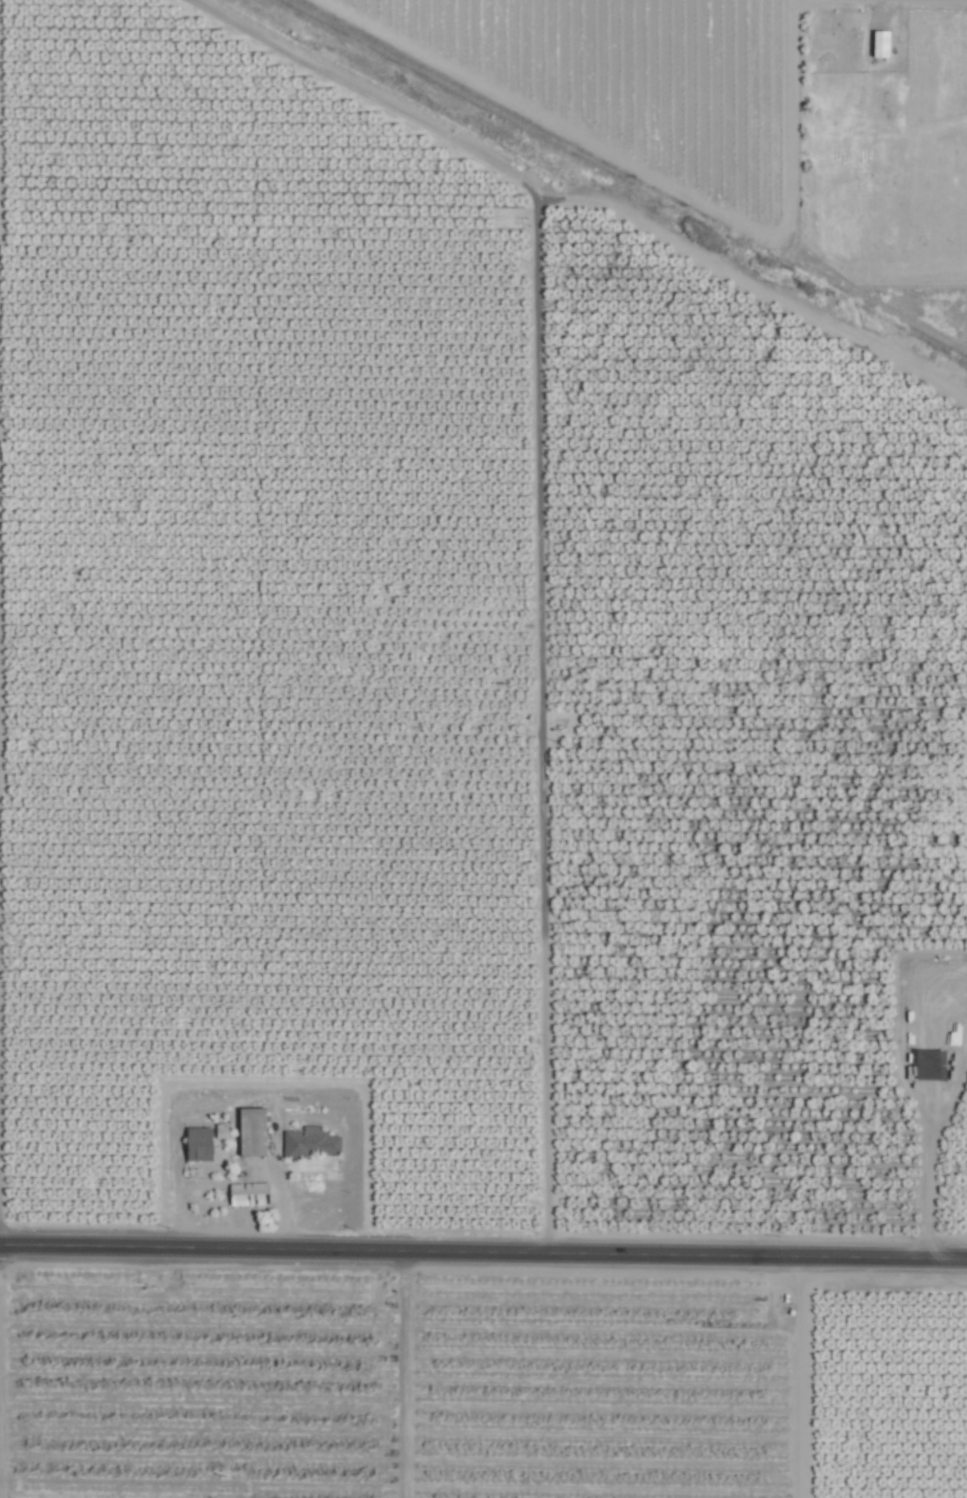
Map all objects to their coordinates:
building: (878, 44)
crop: (483, 749)
building: (250, 1132)
building: (309, 1142)
building: (196, 1144)
building: (246, 1194)
road: (483, 1252)
road: (778, 1377)

